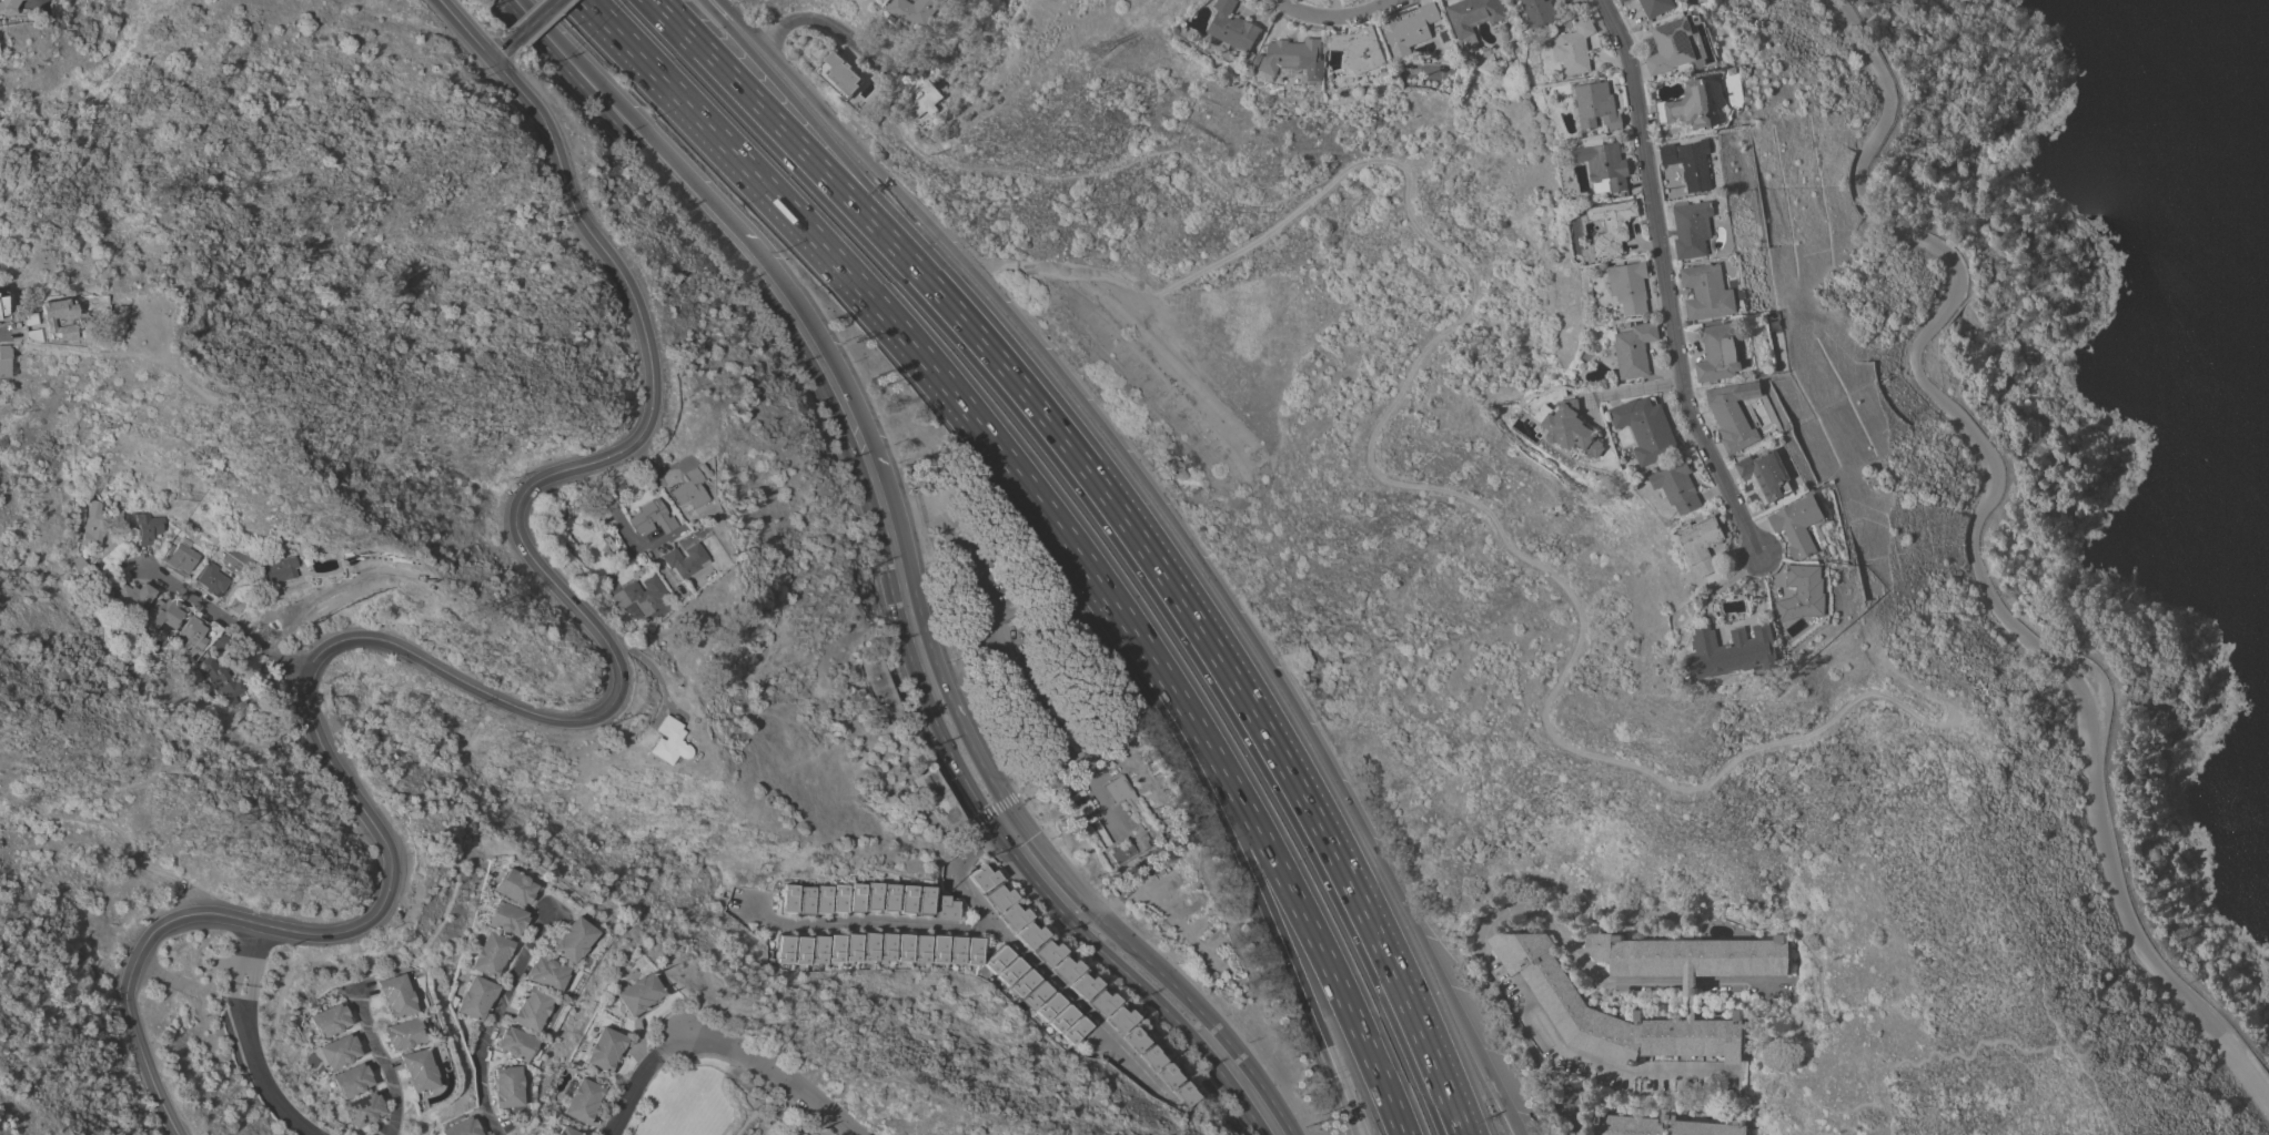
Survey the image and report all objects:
building: (1620, 0)
building: (1622, 0)
road: (26, 2)
building: (1657, 6)
building: (4, 7)
building: (918, 9)
building: (1540, 11)
road: (1339, 16)
building: (1474, 17)
road: (531, 19)
road: (462, 29)
building: (1411, 29)
building: (1236, 32)
building: (1672, 44)
building: (1576, 47)
road: (501, 49)
power tower: (1106, 50)
building: (1354, 57)
road: (883, 59)
building: (1294, 59)
road: (566, 60)
building: (1732, 70)
building: (840, 74)
building: (929, 99)
building: (1599, 104)
building: (1688, 107)
building: (1692, 163)
building: (1605, 164)
road: (1093, 172)
building: (1672, 174)
road: (893, 213)
road: (864, 216)
building: (1691, 223)
building: (1613, 225)
road: (1667, 280)
building: (1630, 286)
building: (1708, 291)
road: (871, 304)
building: (38, 320)
building: (14, 327)
road: (3, 333)
building: (1635, 348)
building: (1721, 351)
building: (0, 364)
road: (1635, 388)
building: (1733, 416)
building: (1575, 427)
building: (1647, 428)
building: (703, 447)
building: (694, 453)
building: (679, 455)
building: (699, 458)
building: (699, 470)
building: (1767, 474)
building: (1678, 485)
road: (1456, 488)
building: (684, 493)
road: (611, 507)
building: (652, 518)
building: (1802, 523)
building: (93, 526)
building: (145, 526)
building: (186, 526)
road: (1176, 526)
building: (684, 540)
road: (1969, 540)
building: (1703, 541)
building: (183, 556)
building: (683, 561)
building: (80, 565)
building: (276, 569)
building: (212, 579)
building: (1804, 590)
building: (135, 596)
building: (642, 596)
building: (236, 605)
power tower: (468, 611)
building: (163, 614)
road: (225, 616)
building: (194, 631)
road: (917, 645)
building: (1734, 651)
building: (221, 682)
building: (883, 689)
road: (492, 698)
building: (662, 741)
road: (1188, 748)
building: (622, 751)
road: (1288, 774)
building: (1126, 798)
building: (936, 799)
traffic signals: (999, 819)
power tower: (228, 824)
building: (1138, 830)
building: (1152, 833)
building: (1141, 842)
building: (1121, 852)
building: (981, 878)
road: (1282, 878)
building: (511, 886)
building: (855, 896)
building: (871, 896)
building: (997, 896)
building: (837, 898)
building: (888, 898)
building: (786, 899)
building: (820, 899)
building: (906, 899)
building: (803, 900)
building: (922, 900)
building: (945, 908)
building: (1011, 916)
building: (504, 918)
building: (565, 925)
road: (869, 926)
road: (2024, 932)
building: (1027, 935)
building: (569, 941)
building: (868, 945)
building: (851, 946)
building: (886, 946)
building: (834, 947)
building: (902, 947)
building: (783, 949)
building: (817, 949)
building: (919, 949)
building: (937, 949)
road: (236, 950)
building: (799, 950)
building: (954, 950)
building: (971, 951)
building: (1045, 952)
road: (253, 953)
building: (490, 954)
building: (994, 959)
road: (1026, 960)
building: (578, 962)
building: (1061, 969)
building: (1006, 971)
road: (1492, 973)
building: (544, 974)
road: (1625, 982)
building: (1018, 983)
building: (1079, 985)
building: (639, 993)
road: (234, 994)
building: (1031, 994)
building: (395, 995)
road: (1302, 995)
road: (243, 996)
building: (477, 997)
building: (1097, 1002)
building: (1043, 1006)
building: (530, 1009)
building: (1567, 1012)
road: (493, 1019)
building: (1056, 1019)
building: (1113, 1019)
building: (329, 1021)
building: (1068, 1030)
building: (403, 1034)
building: (1128, 1038)
road: (667, 1043)
building: (515, 1044)
building: (605, 1050)
building: (337, 1052)
building: (1143, 1057)
road: (382, 1058)
building: (416, 1071)
road: (774, 1072)
building: (1159, 1075)
road: (261, 1080)
building: (349, 1081)
building: (506, 1087)
building: (1174, 1093)
road: (633, 1094)
building: (582, 1099)
building: (362, 1111)
building: (1665, 1124)
building: (463, 1127)
building: (567, 1132)

